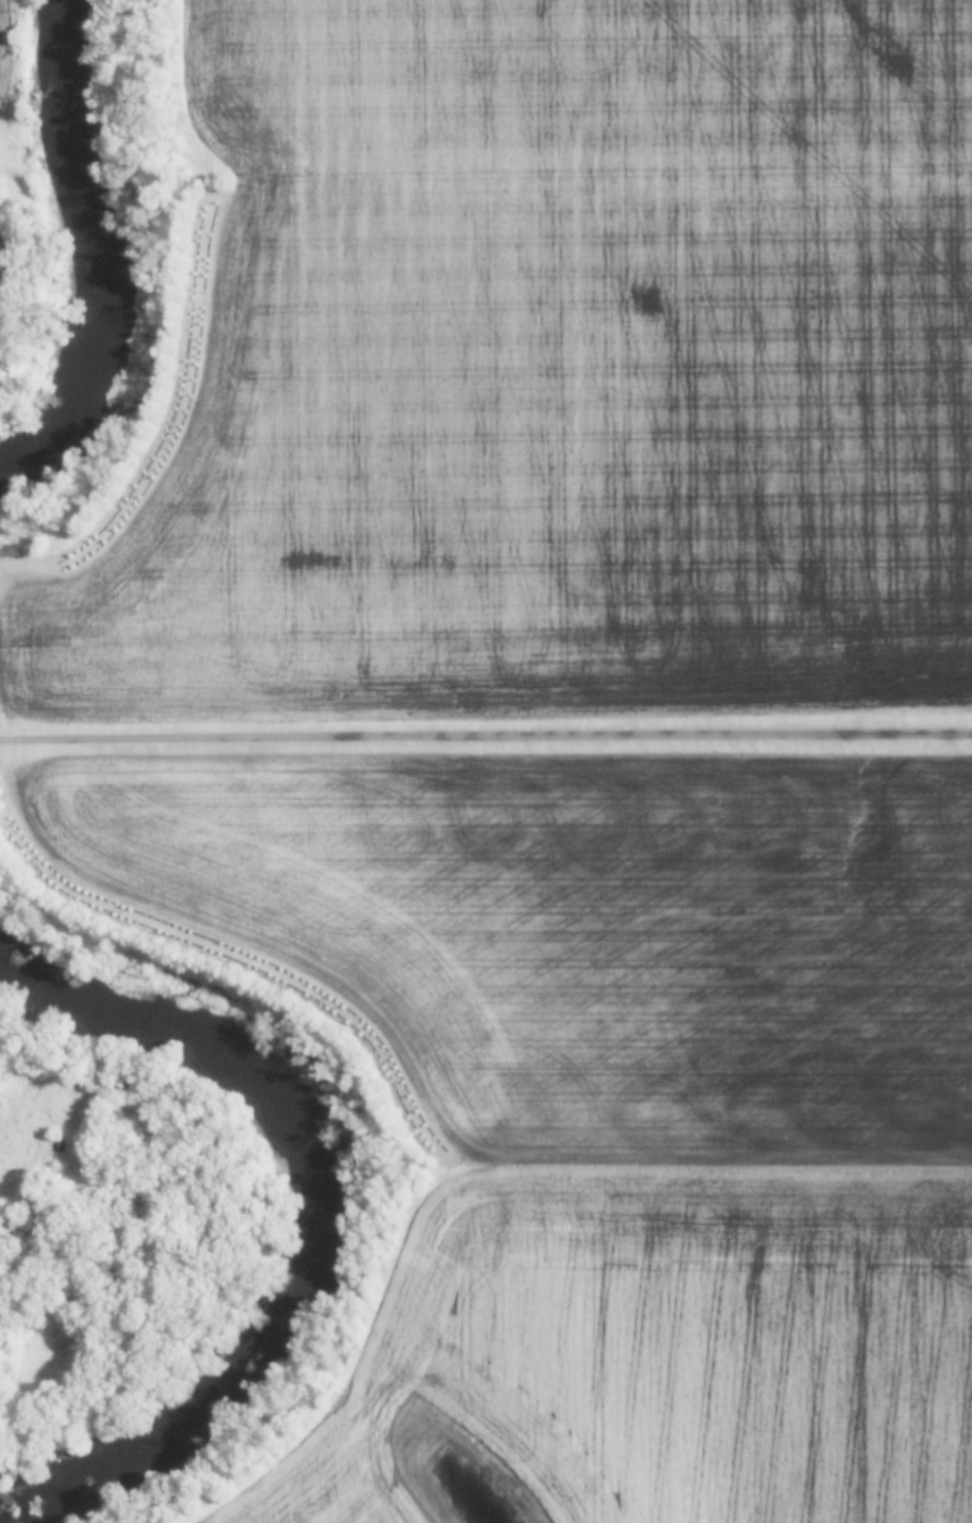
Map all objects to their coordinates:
river: (80, 240)
building: (10, 551)
road: (485, 732)
river: (294, 1217)

